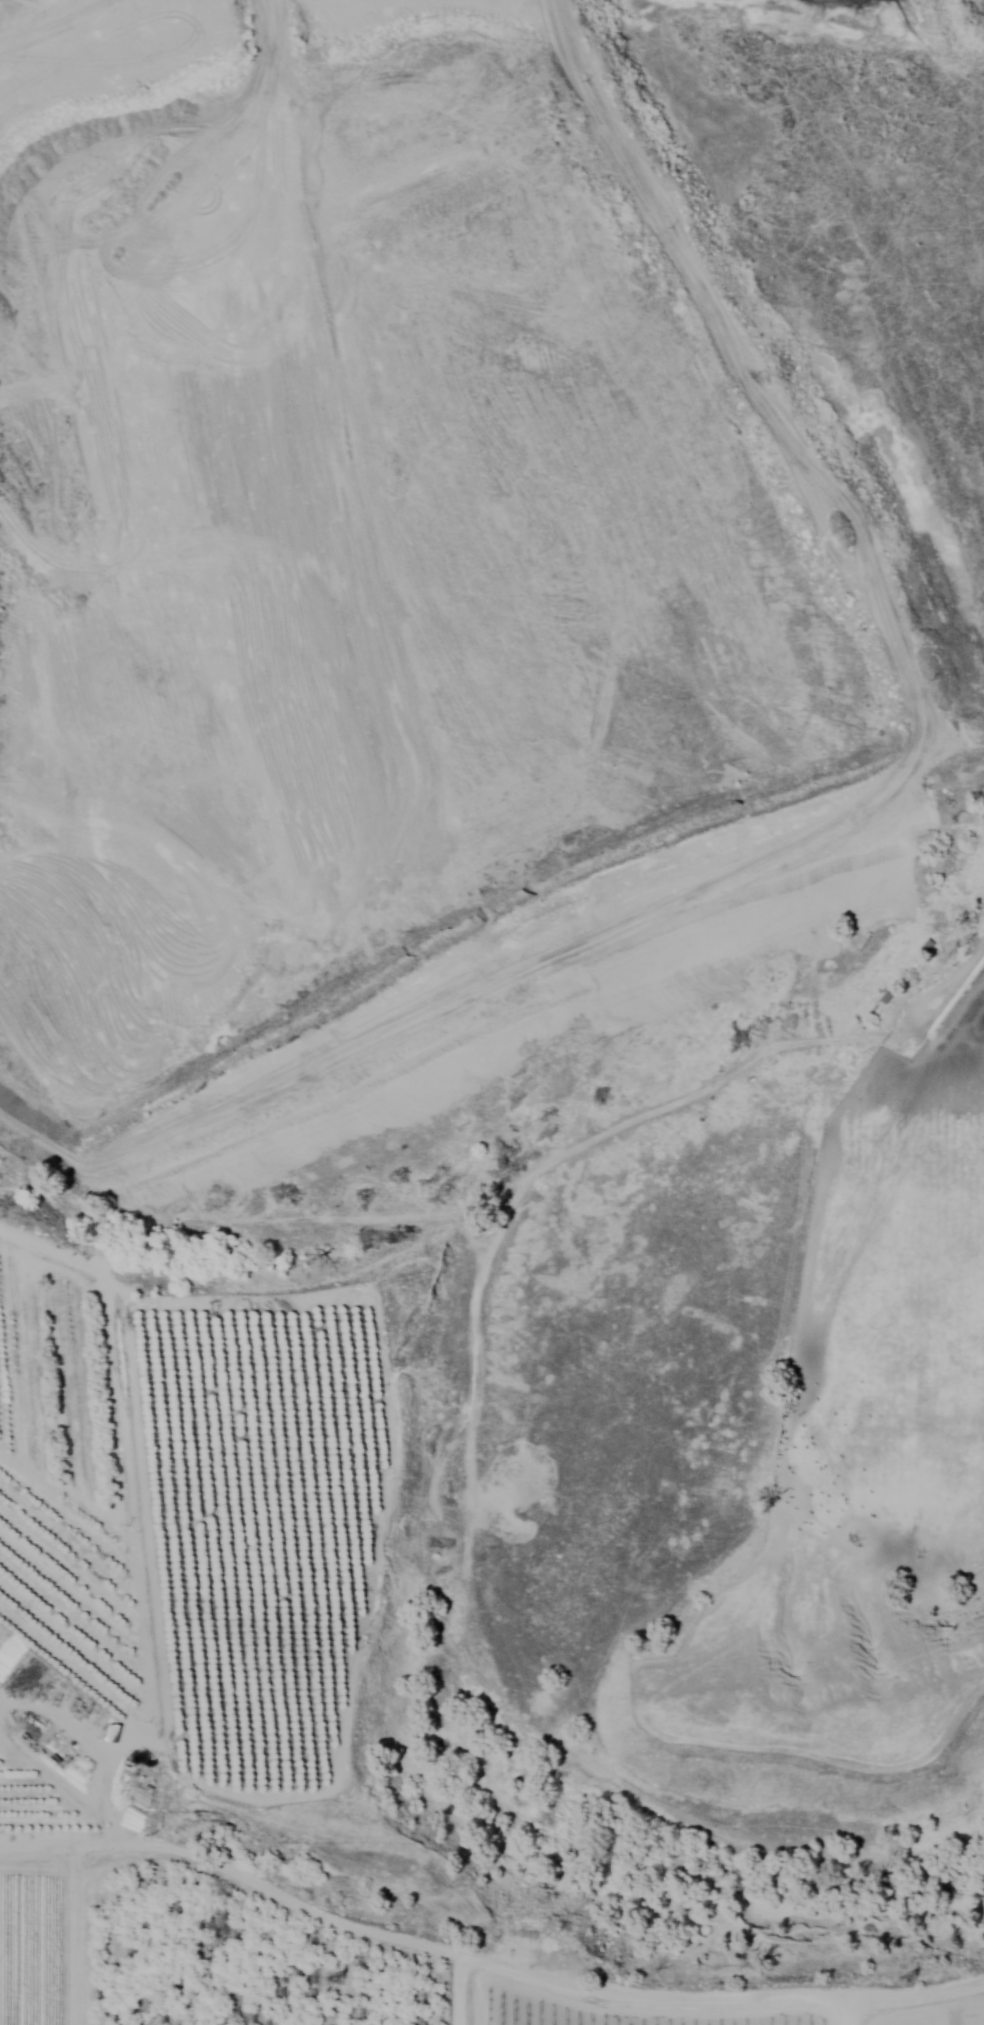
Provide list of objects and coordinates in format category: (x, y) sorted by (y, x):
building: (885, 997)
crop: (135, 1771)
crop: (868, 2015)

